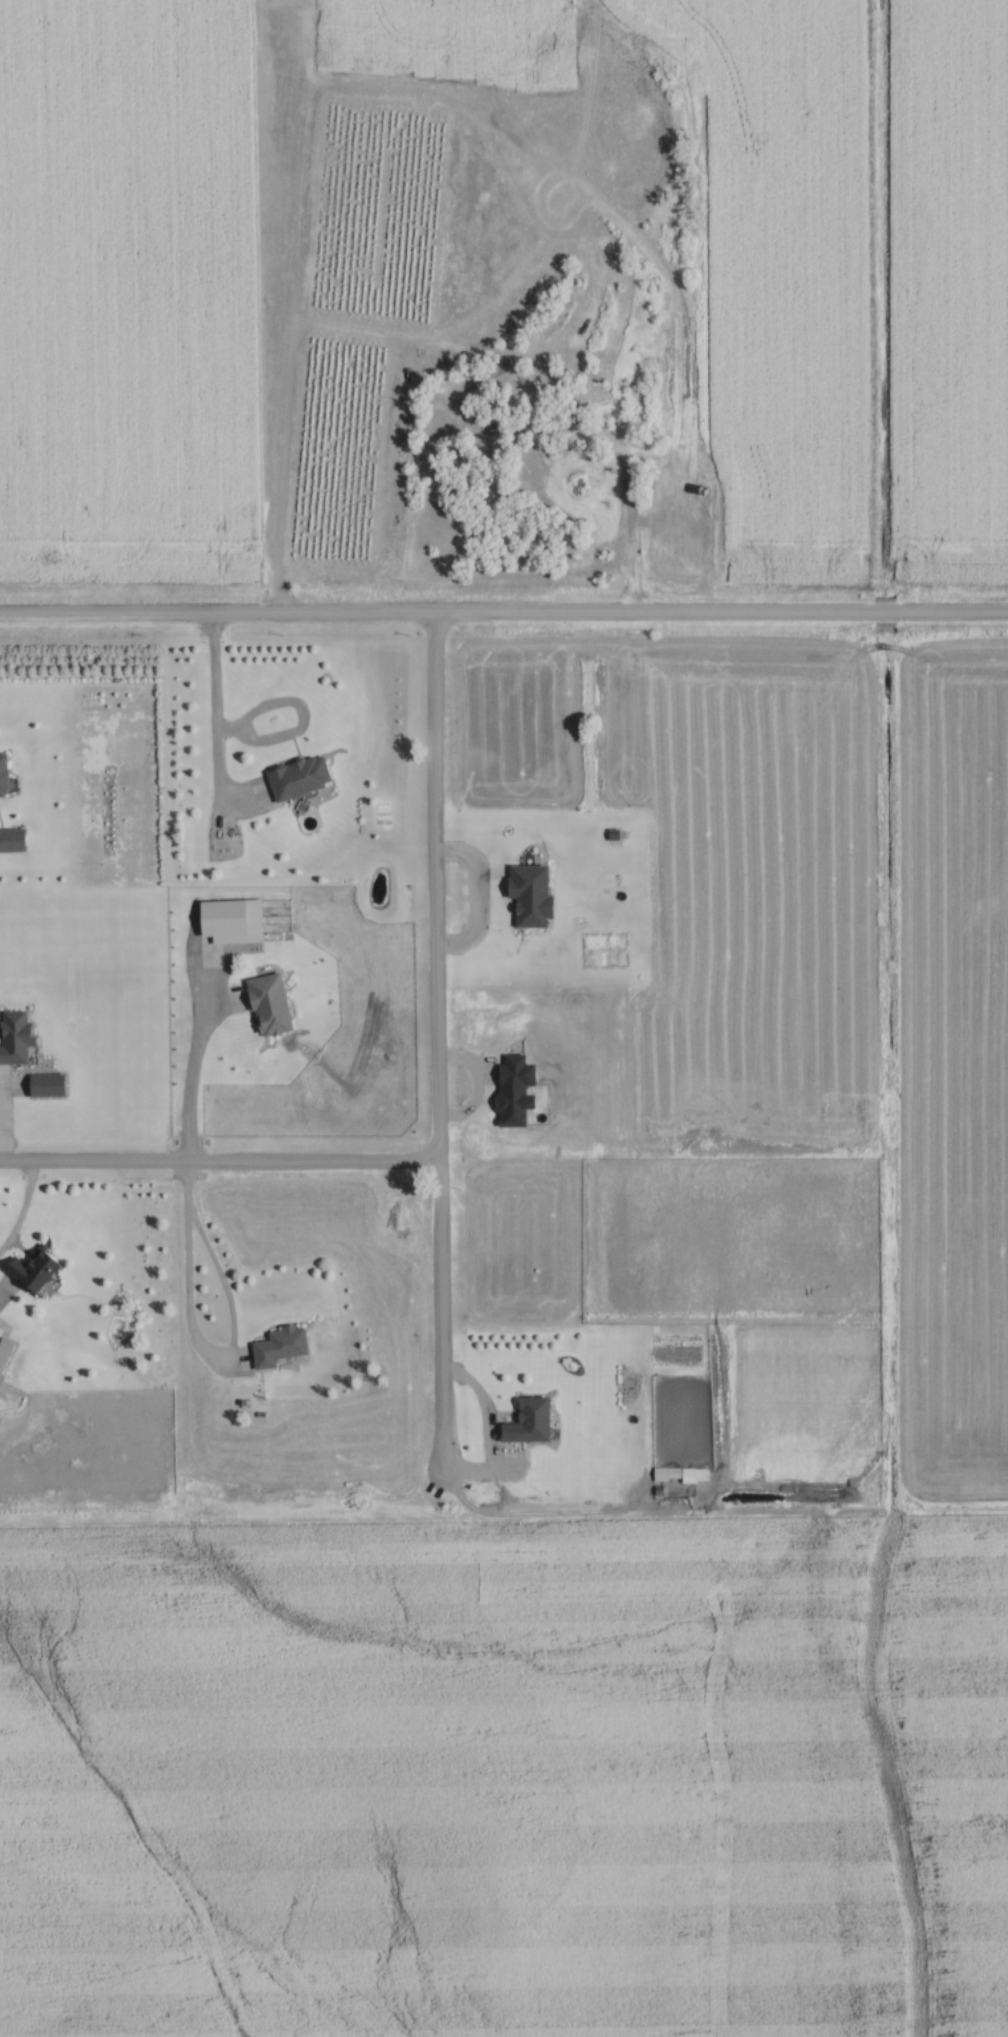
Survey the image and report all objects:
road: (504, 616)
building: (2, 776)
building: (296, 778)
building: (10, 841)
building: (266, 1006)
road: (434, 1052)
road: (218, 1164)
building: (32, 1272)
building: (276, 1348)
building: (4, 1352)
building: (526, 1422)
building: (658, 1475)

